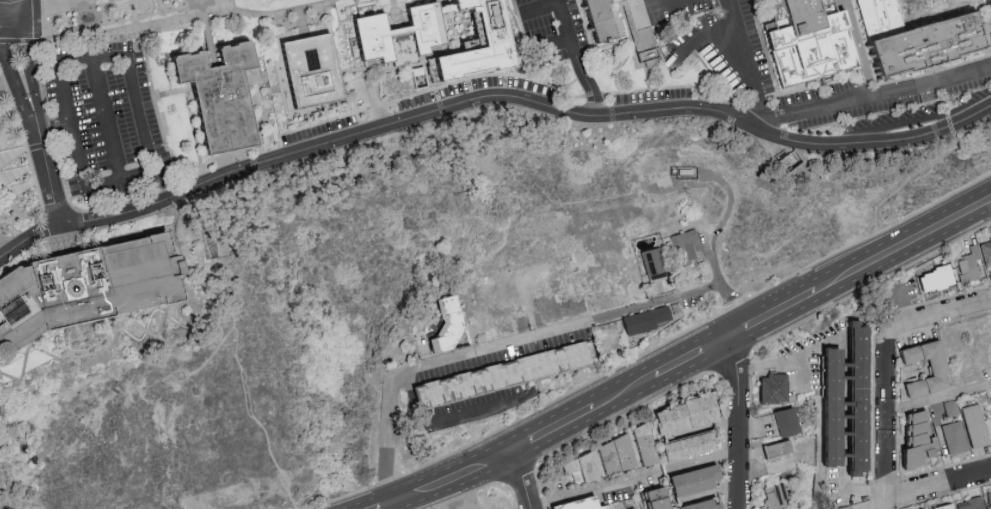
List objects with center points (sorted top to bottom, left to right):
road: (837, 2)
road: (34, 5)
road: (660, 6)
road: (22, 8)
road: (544, 8)
parking lot: (988, 8)
road: (11, 14)
road: (394, 15)
road: (301, 20)
road: (764, 20)
road: (934, 20)
road: (132, 21)
road: (987, 21)
road: (11, 22)
road: (902, 23)
parking lot: (548, 27)
road: (921, 27)
road: (0, 28)
road: (206, 33)
road: (851, 34)
building: (394, 37)
building: (598, 37)
road: (708, 37)
parking lot: (708, 40)
building: (807, 41)
building: (916, 41)
road: (552, 42)
road: (118, 56)
road: (577, 60)
road: (745, 64)
road: (870, 65)
road: (31, 73)
building: (307, 74)
road: (13, 76)
road: (8, 84)
road: (886, 84)
road: (780, 92)
road: (161, 95)
building: (215, 97)
road: (941, 97)
parking lot: (647, 98)
road: (769, 99)
road: (873, 99)
parking lot: (881, 100)
parking lot: (408, 106)
road: (104, 118)
parking lot: (106, 121)
road: (909, 124)
road: (194, 136)
road: (797, 144)
road: (296, 152)
road: (19, 153)
road: (41, 156)
park: (15, 172)
road: (22, 173)
road: (84, 187)
road: (28, 189)
road: (55, 205)
road: (20, 218)
road: (9, 220)
road: (174, 235)
road: (870, 238)
road: (904, 248)
road: (4, 252)
building: (973, 260)
building: (657, 264)
road: (181, 276)
building: (535, 276)
building: (932, 279)
building: (81, 289)
road: (726, 297)
road: (904, 304)
road: (730, 308)
road: (938, 315)
road: (776, 316)
road: (188, 318)
building: (650, 319)
building: (453, 327)
road: (556, 332)
building: (26, 351)
road: (96, 353)
road: (695, 358)
road: (789, 361)
building: (933, 370)
road: (240, 371)
road: (805, 373)
building: (499, 378)
building: (771, 389)
road: (626, 395)
road: (558, 399)
building: (857, 400)
road: (939, 400)
building: (828, 410)
building: (687, 417)
road: (445, 419)
road: (888, 419)
building: (784, 421)
road: (736, 423)
building: (973, 425)
road: (703, 428)
road: (555, 432)
building: (953, 437)
building: (914, 441)
road: (387, 443)
building: (642, 446)
building: (775, 448)
building: (687, 449)
building: (614, 456)
road: (703, 461)
building: (580, 470)
road: (455, 480)
road: (388, 481)
road: (522, 481)
building: (695, 483)
road: (939, 486)
road: (595, 491)
road: (851, 492)
road: (709, 496)
building: (773, 496)
road: (342, 499)
building: (660, 499)
building: (988, 499)
building: (969, 503)
building: (588, 504)
building: (706, 506)
building: (942, 506)
road: (393, 508)

